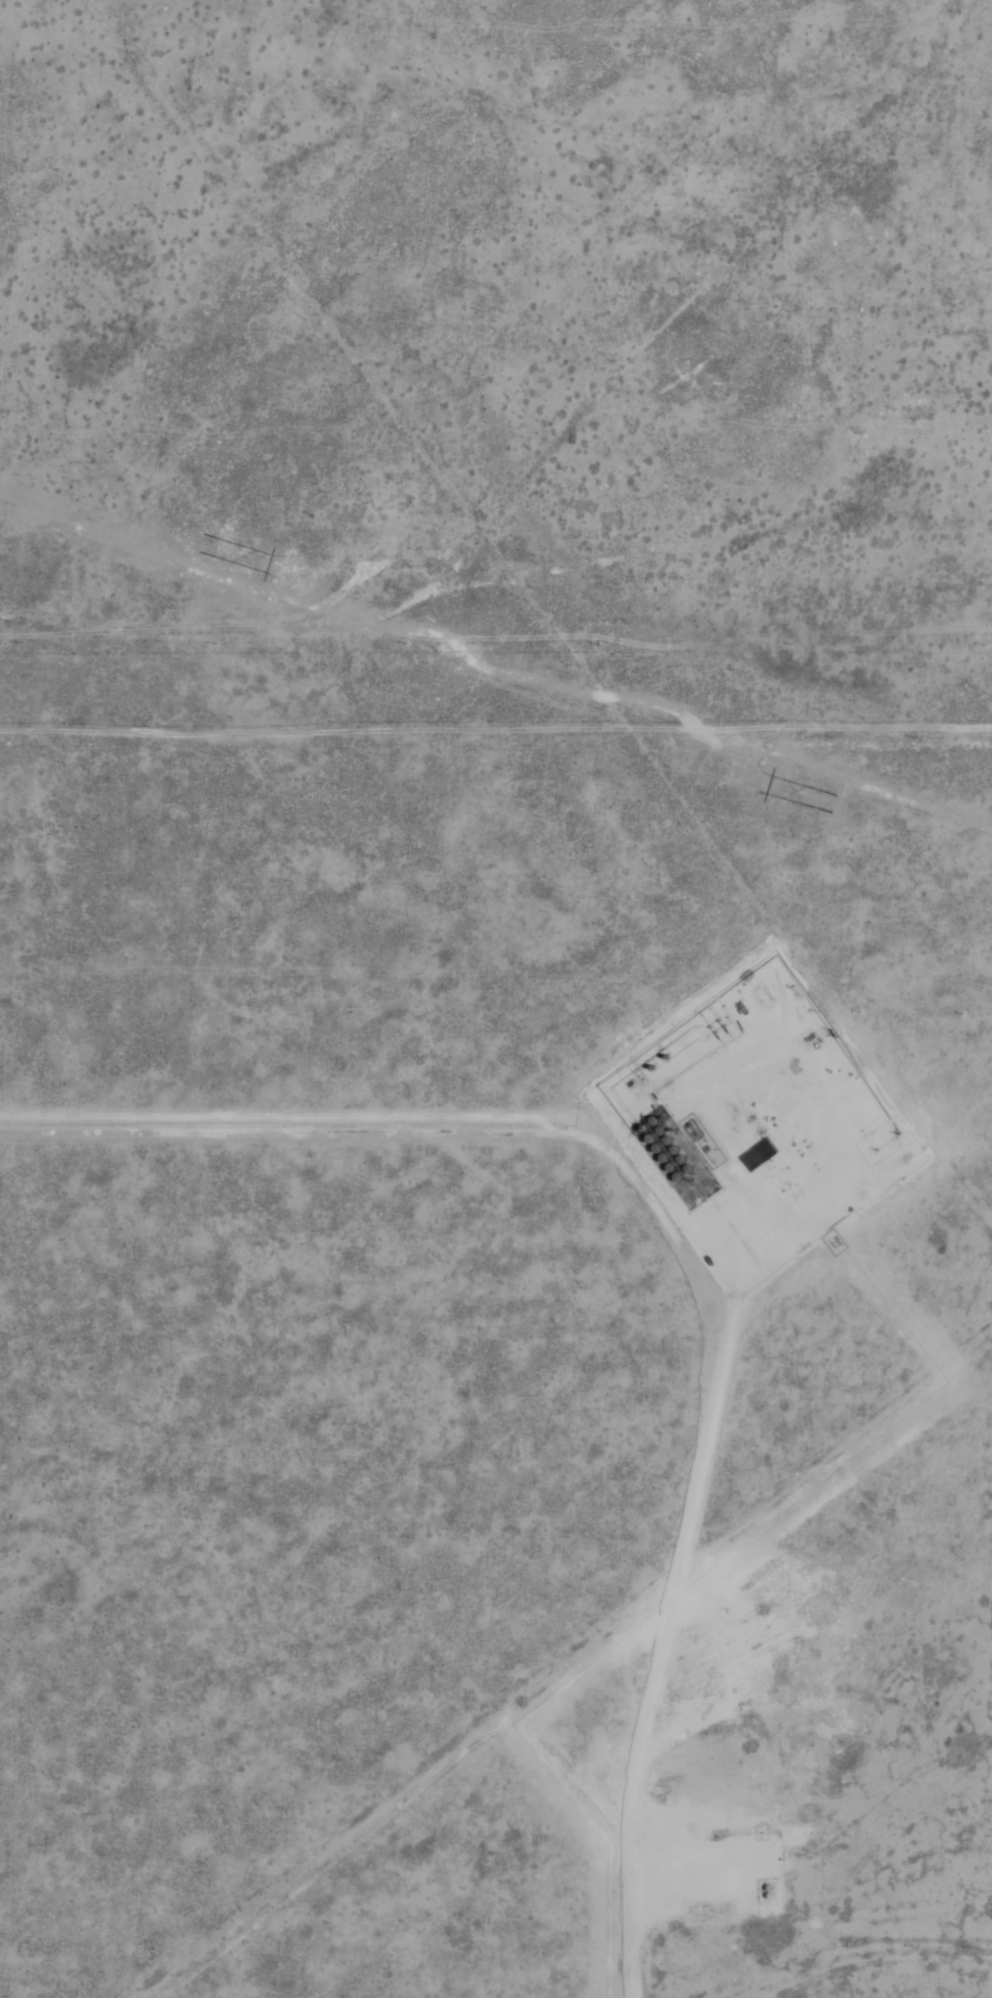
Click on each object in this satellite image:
road: (671, 1869)

